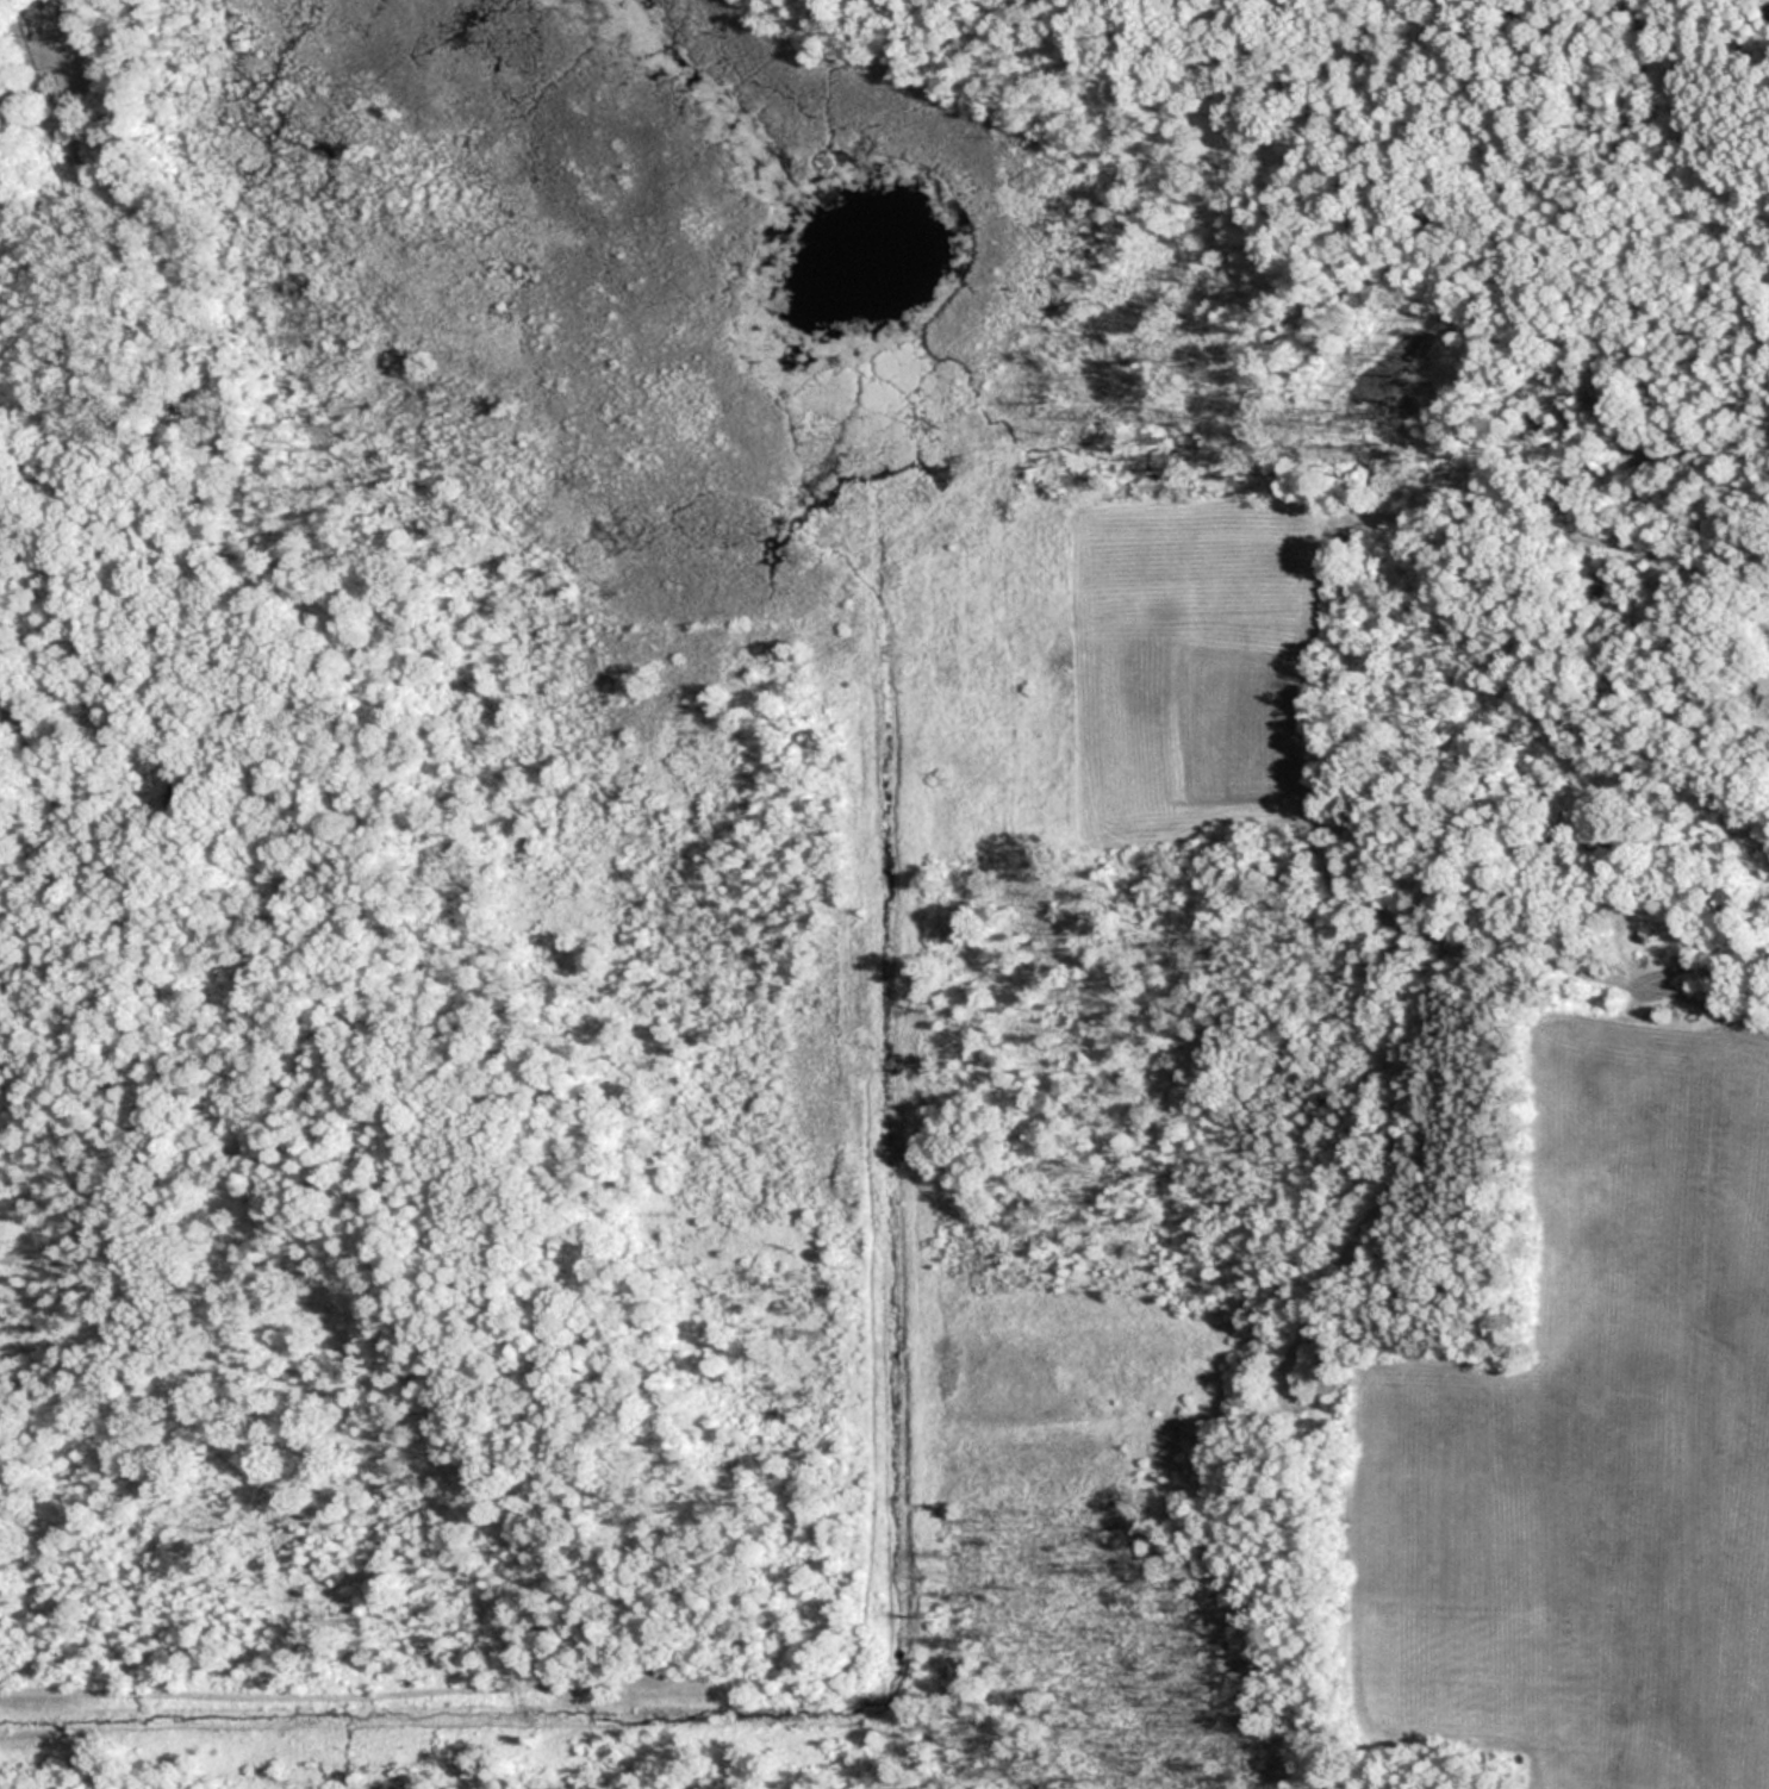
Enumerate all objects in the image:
road: (1512, 243)
road: (1664, 469)

